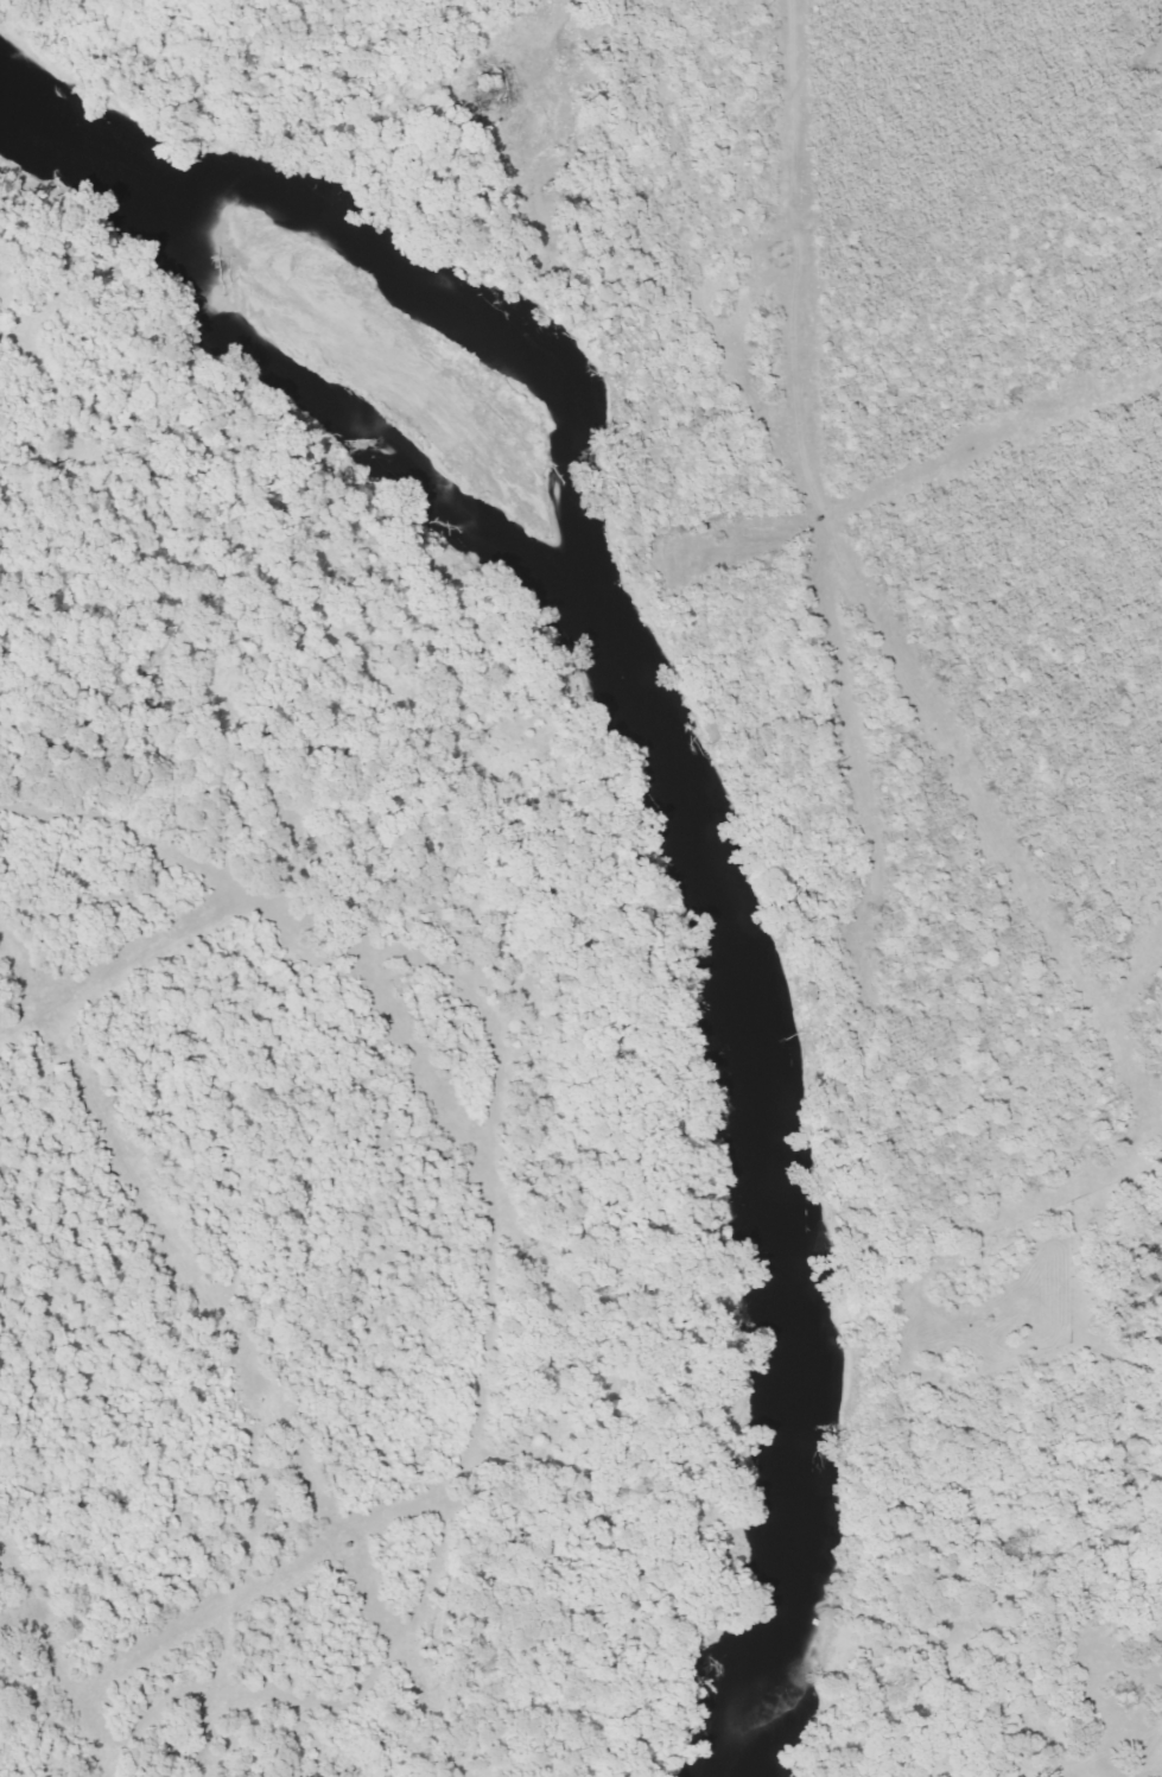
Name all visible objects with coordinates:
river: (669, 851)
road: (1120, 1747)

